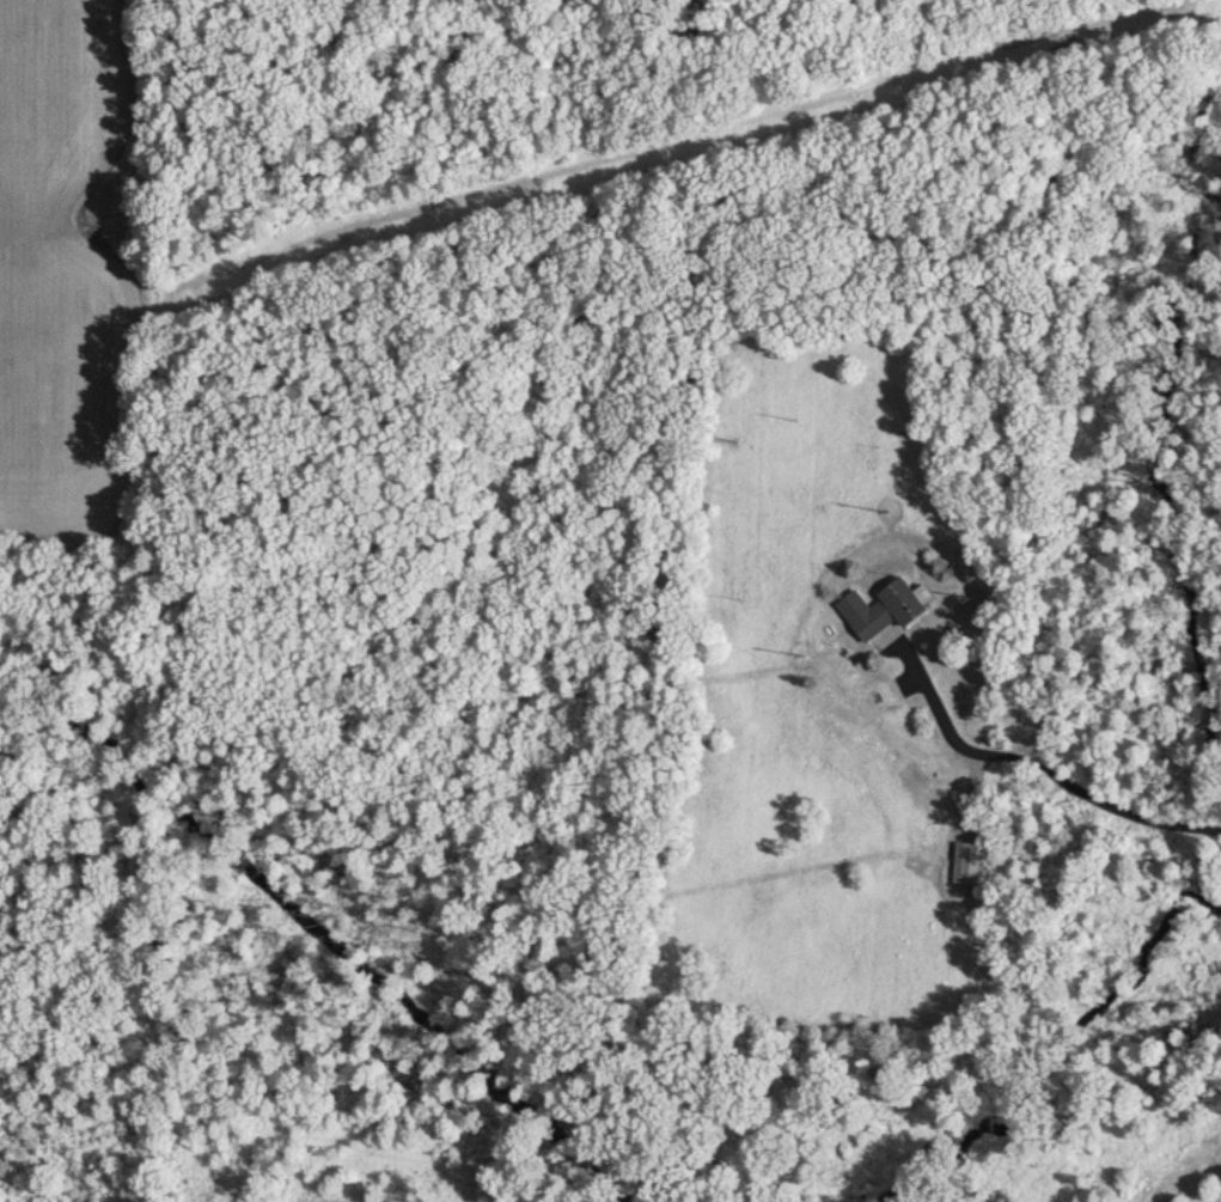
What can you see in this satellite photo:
building: (885, 610)
road: (1043, 770)
building: (971, 864)

